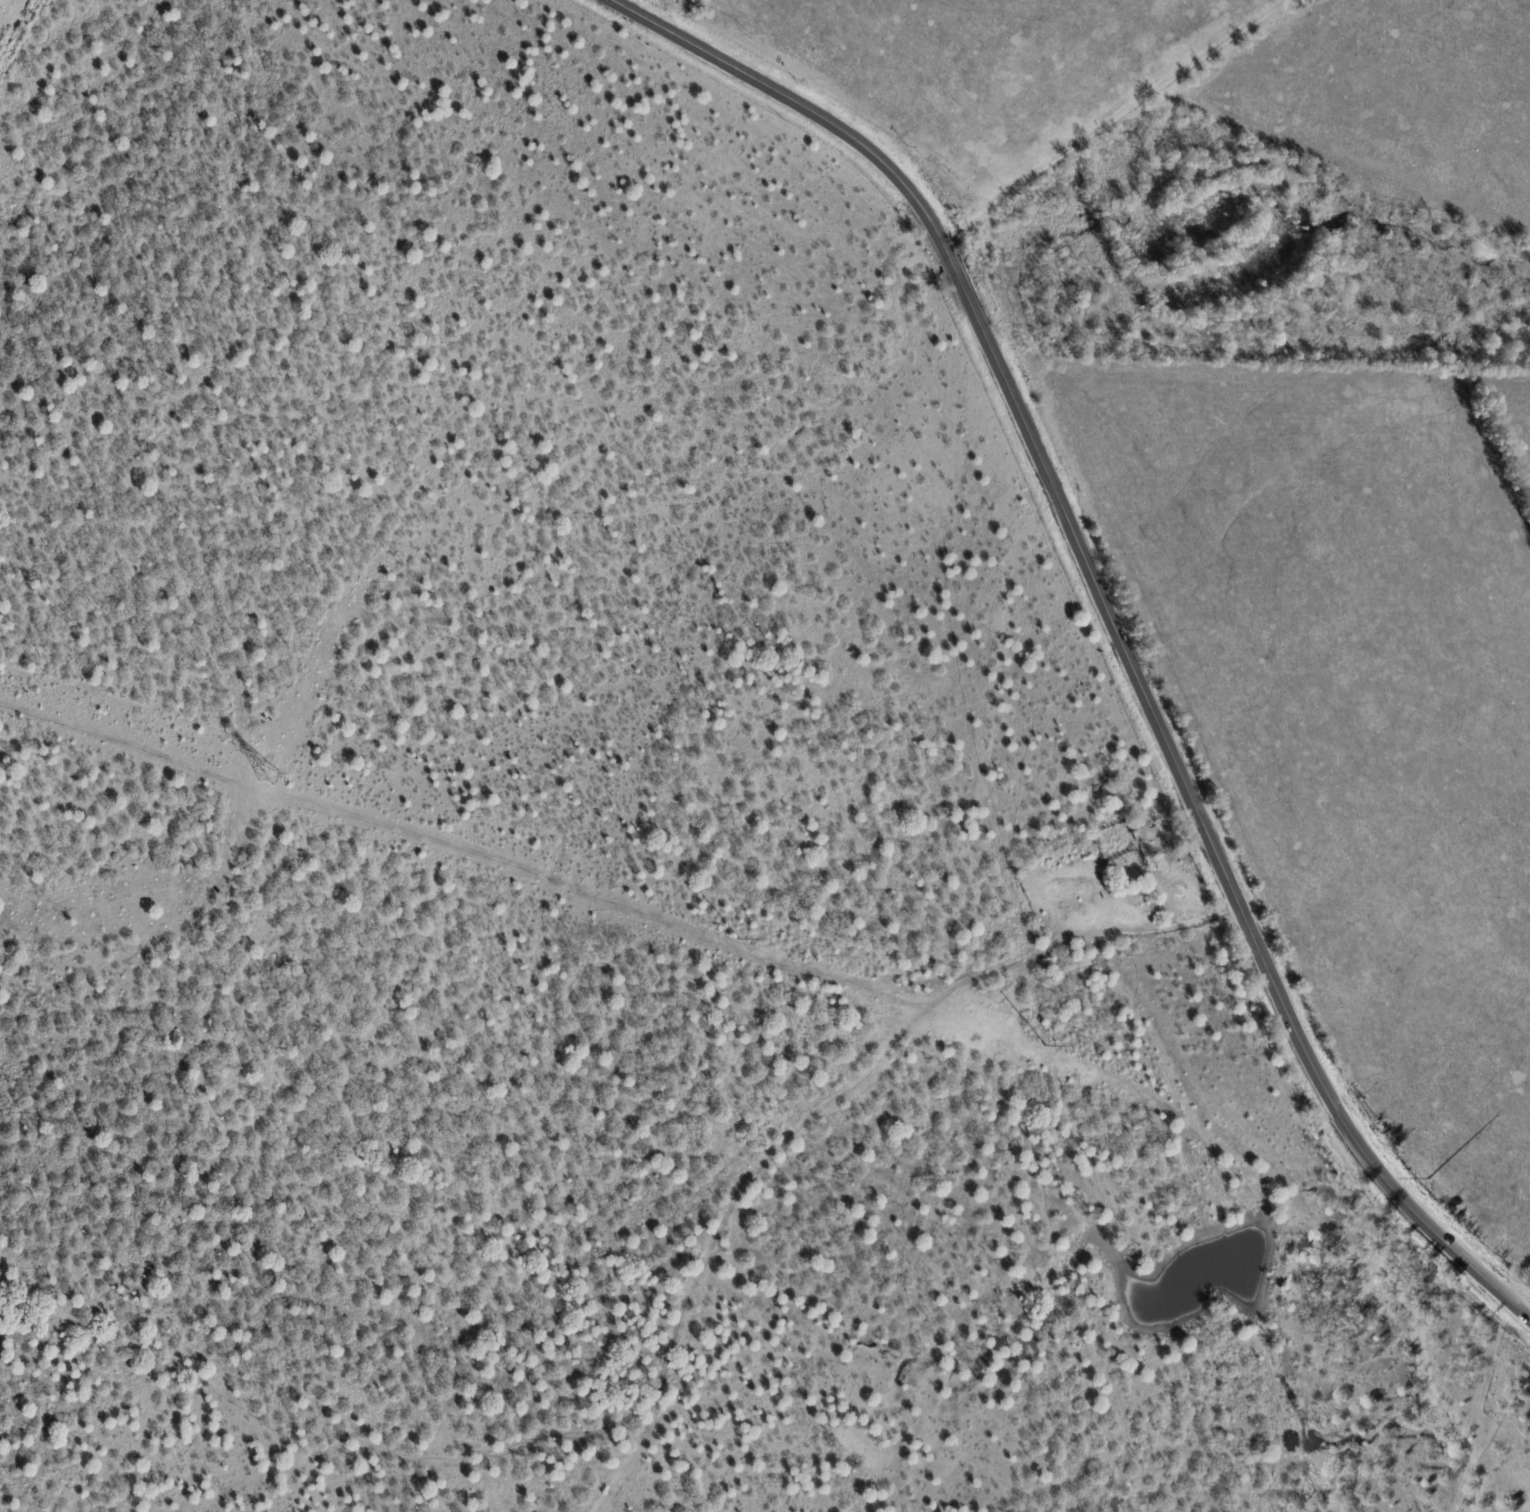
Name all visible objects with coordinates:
road: (1116, 120)
road: (1110, 615)
power tower: (268, 776)
power tower: (739, 941)
power tower: (1044, 1047)
power tower: (1427, 1180)

